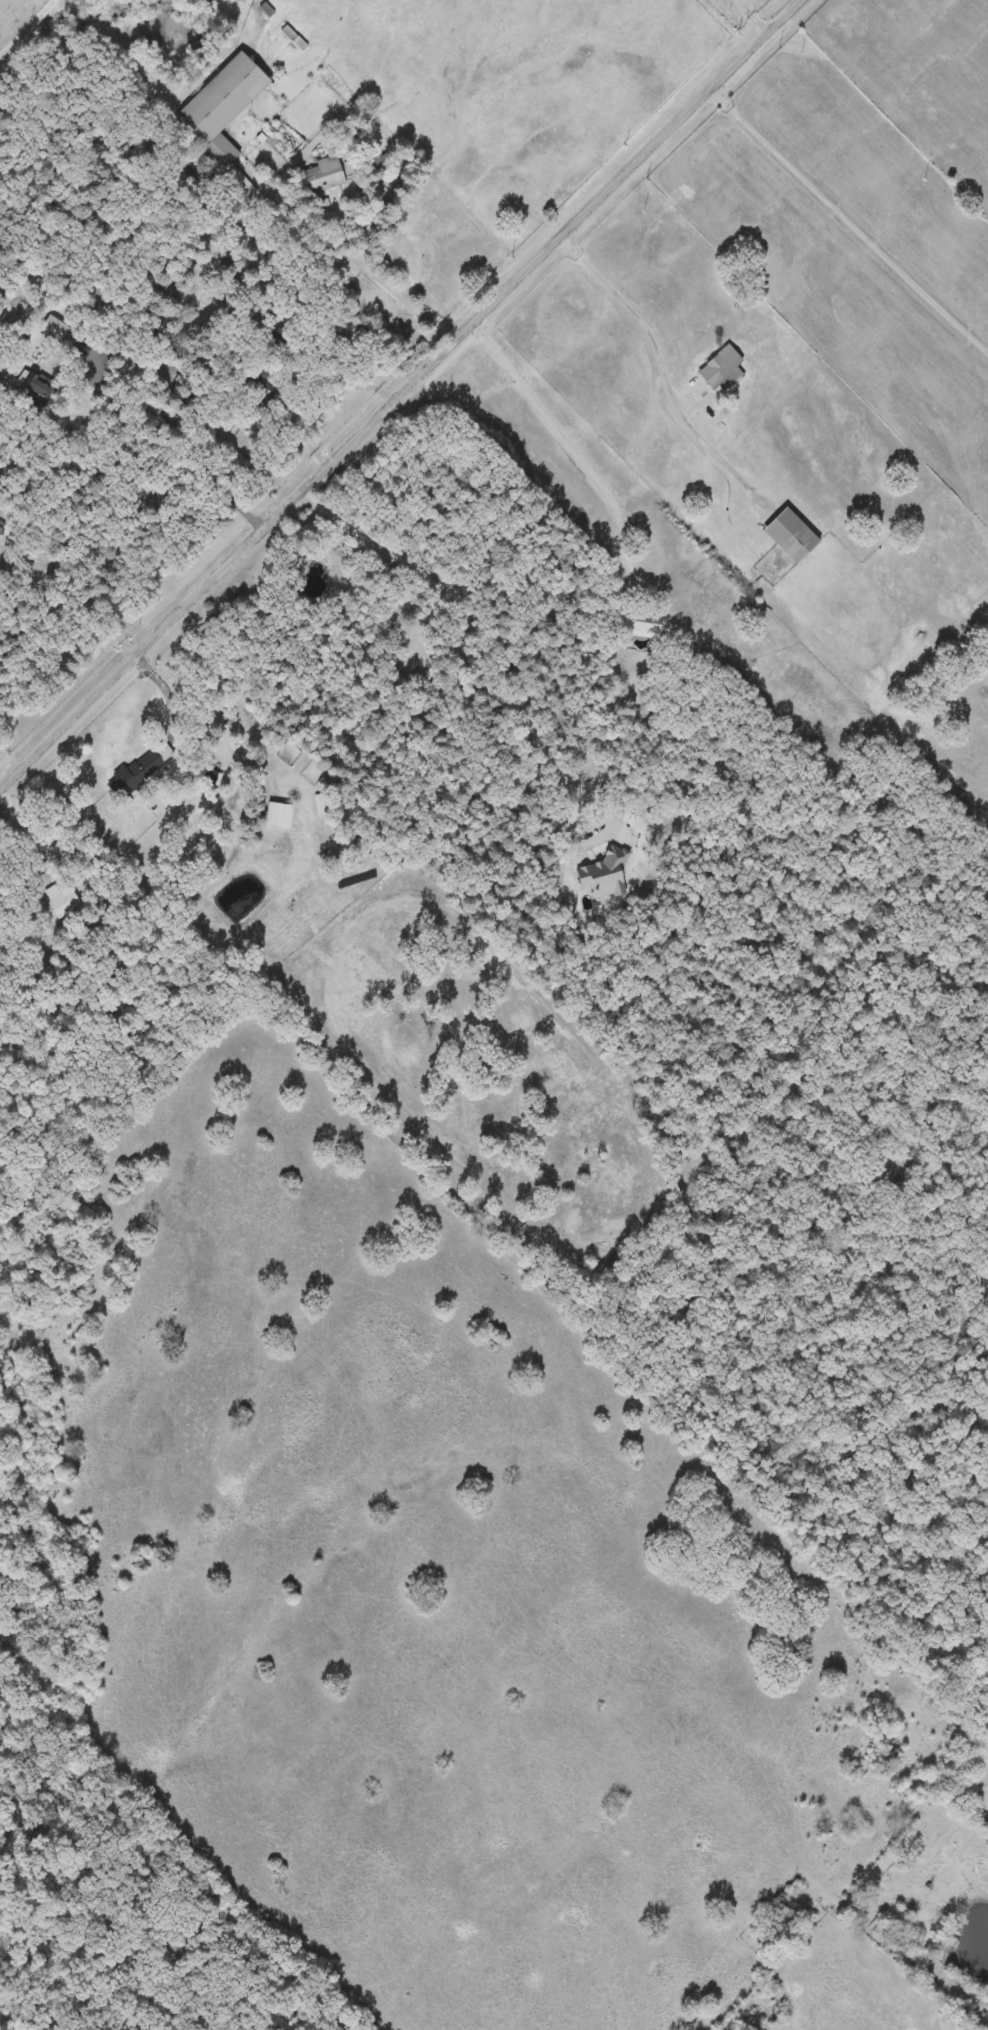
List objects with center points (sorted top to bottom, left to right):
road: (755, 15)
building: (294, 38)
building: (218, 107)
building: (375, 164)
building: (322, 174)
road: (847, 217)
road: (294, 223)
road: (376, 272)
building: (51, 329)
road: (667, 368)
building: (720, 368)
road: (399, 393)
road: (547, 413)
road: (184, 435)
building: (1, 527)
building: (789, 535)
road: (639, 568)
road: (468, 617)
building: (636, 626)
road: (168, 694)
building: (139, 770)
road: (18, 814)
building: (277, 815)
building: (61, 901)
road: (940, 1659)
road: (919, 1898)

